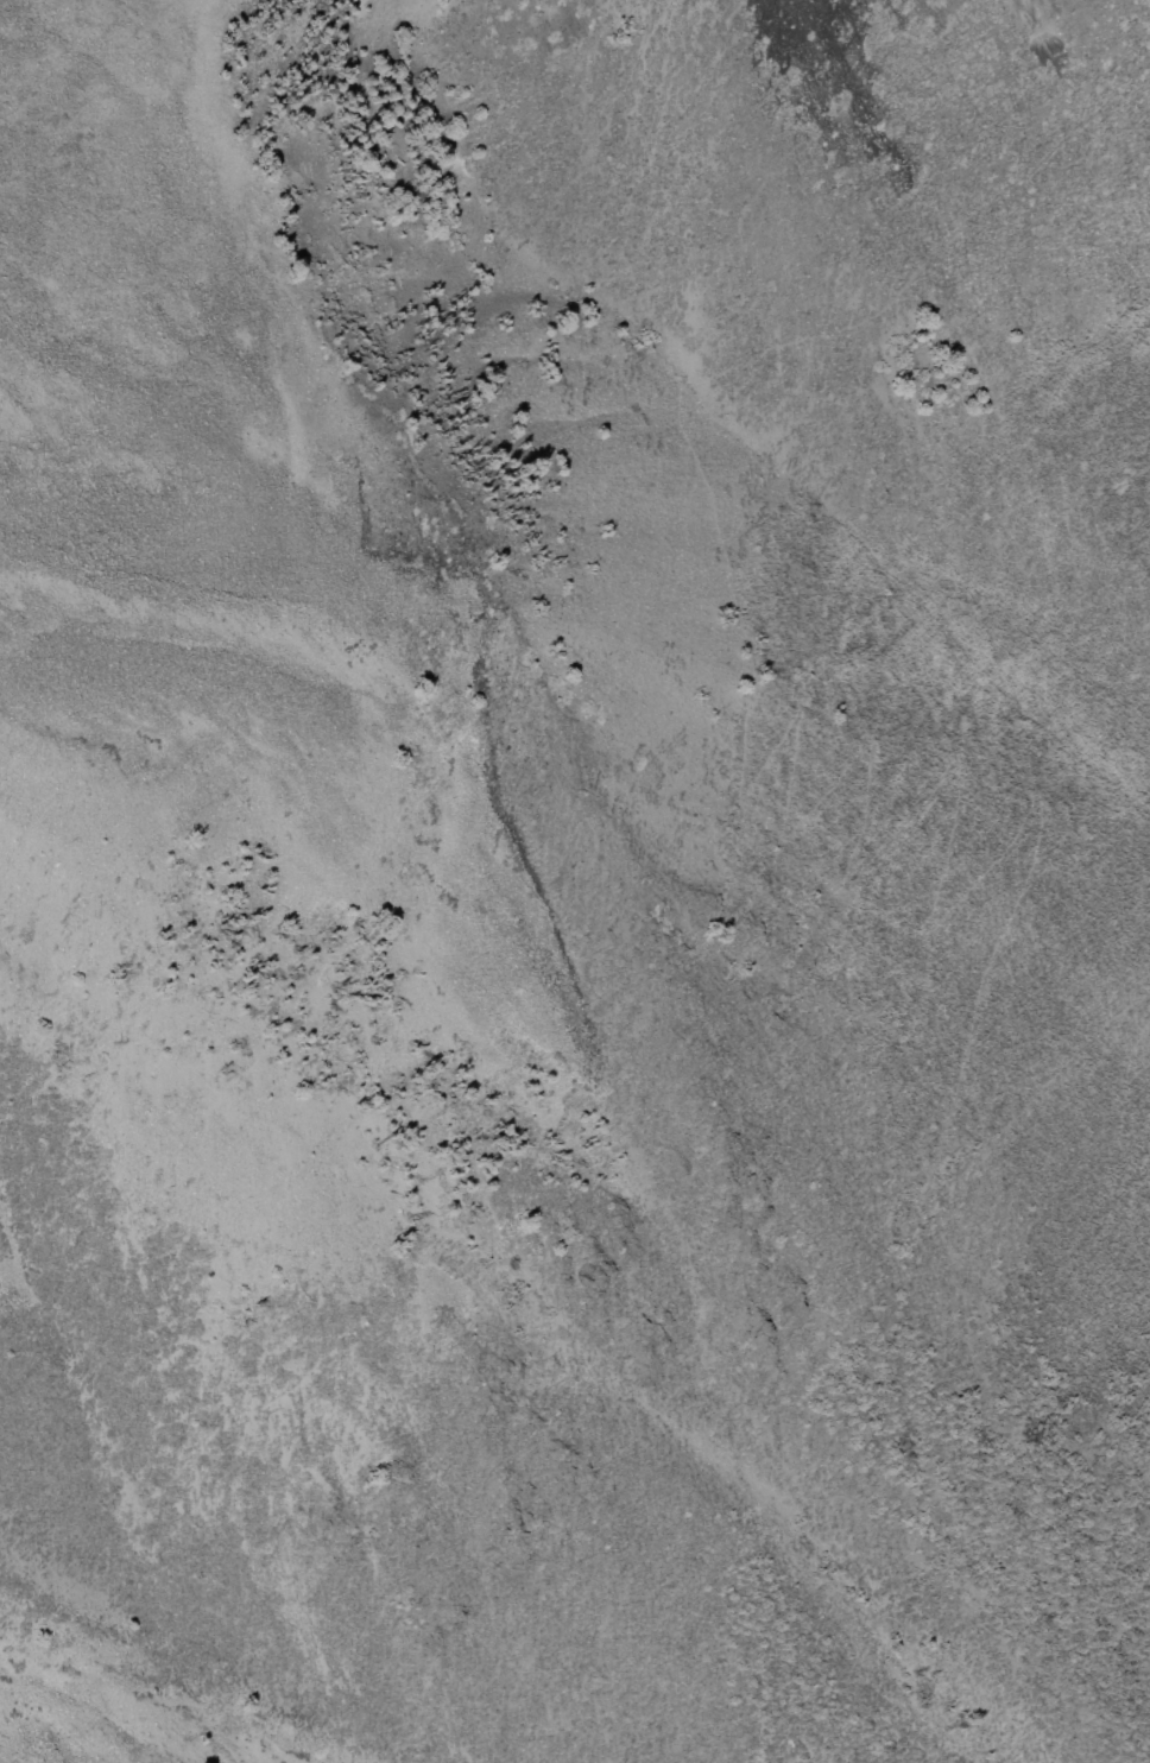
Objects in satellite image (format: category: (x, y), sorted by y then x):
road: (864, 816)
road: (1127, 1061)

